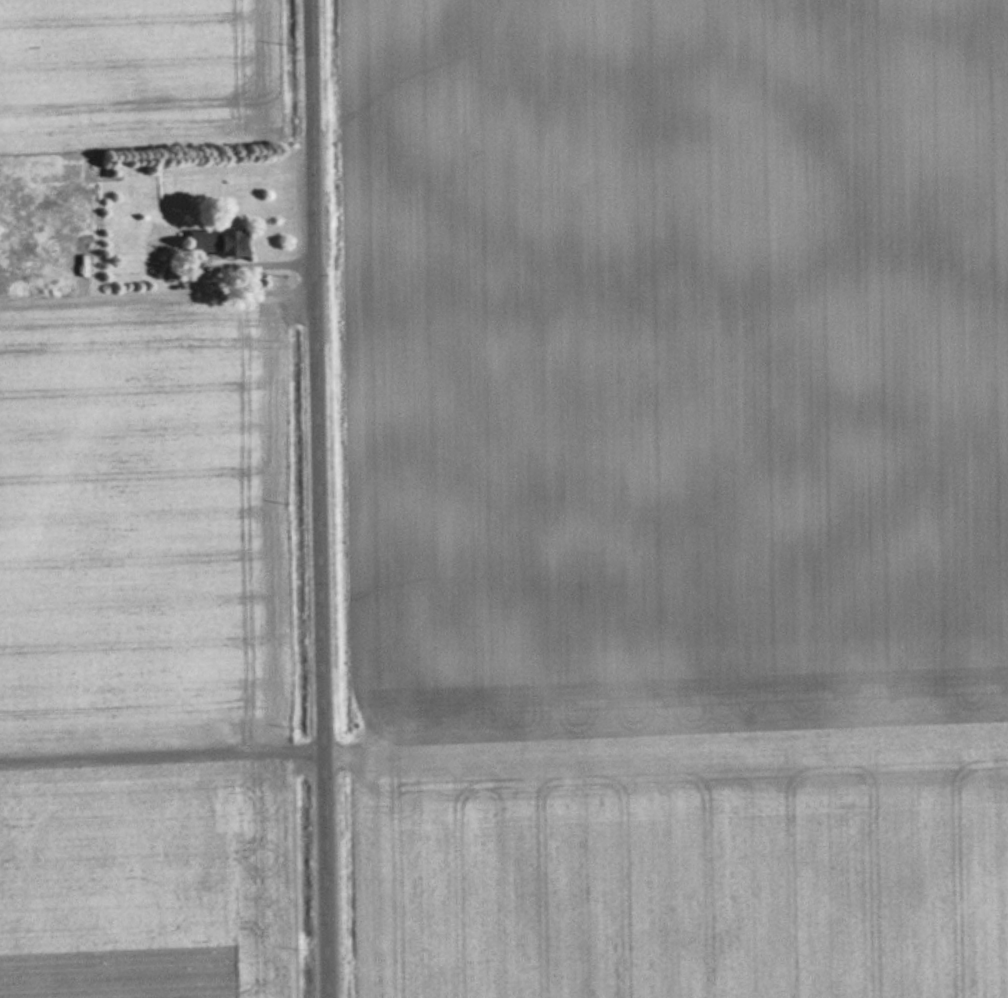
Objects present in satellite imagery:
building: (220, 243)
road: (322, 498)
road: (171, 879)

